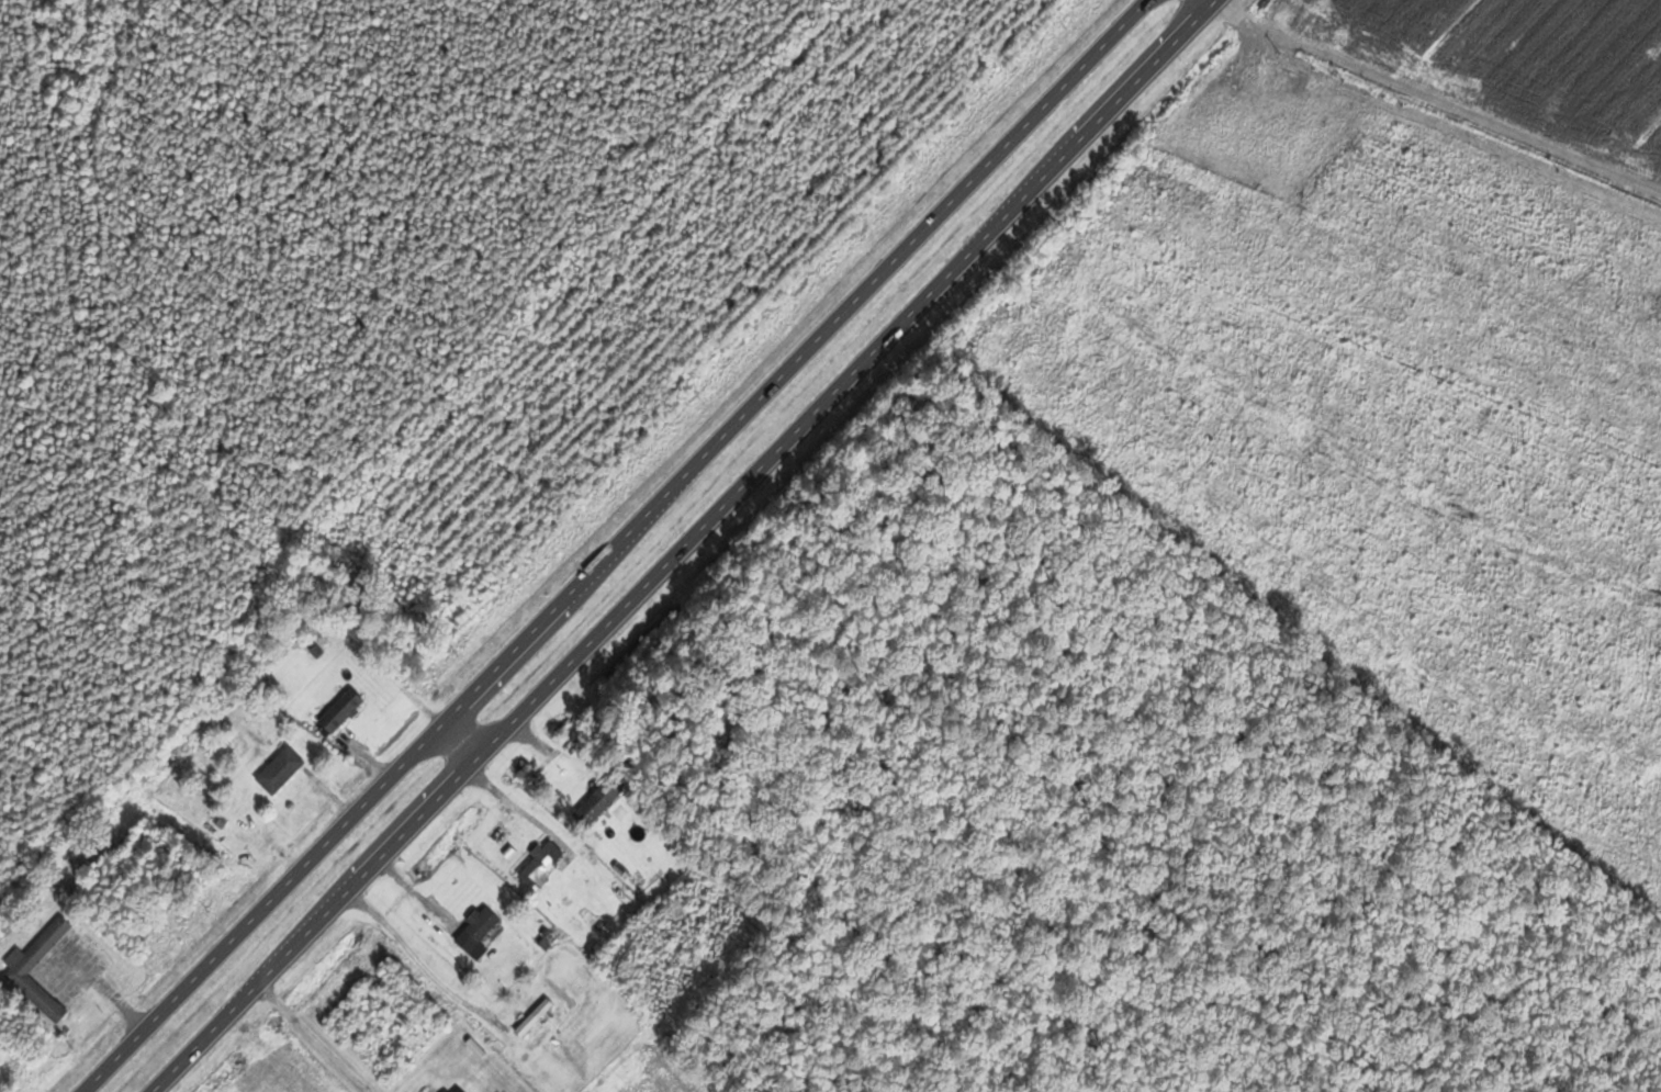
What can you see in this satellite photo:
road: (1221, 2)
road: (613, 544)
road: (698, 547)
building: (346, 710)
building: (283, 770)
building: (599, 802)
building: (545, 863)
building: (166, 923)
building: (480, 927)
building: (22, 971)
building: (460, 1089)

